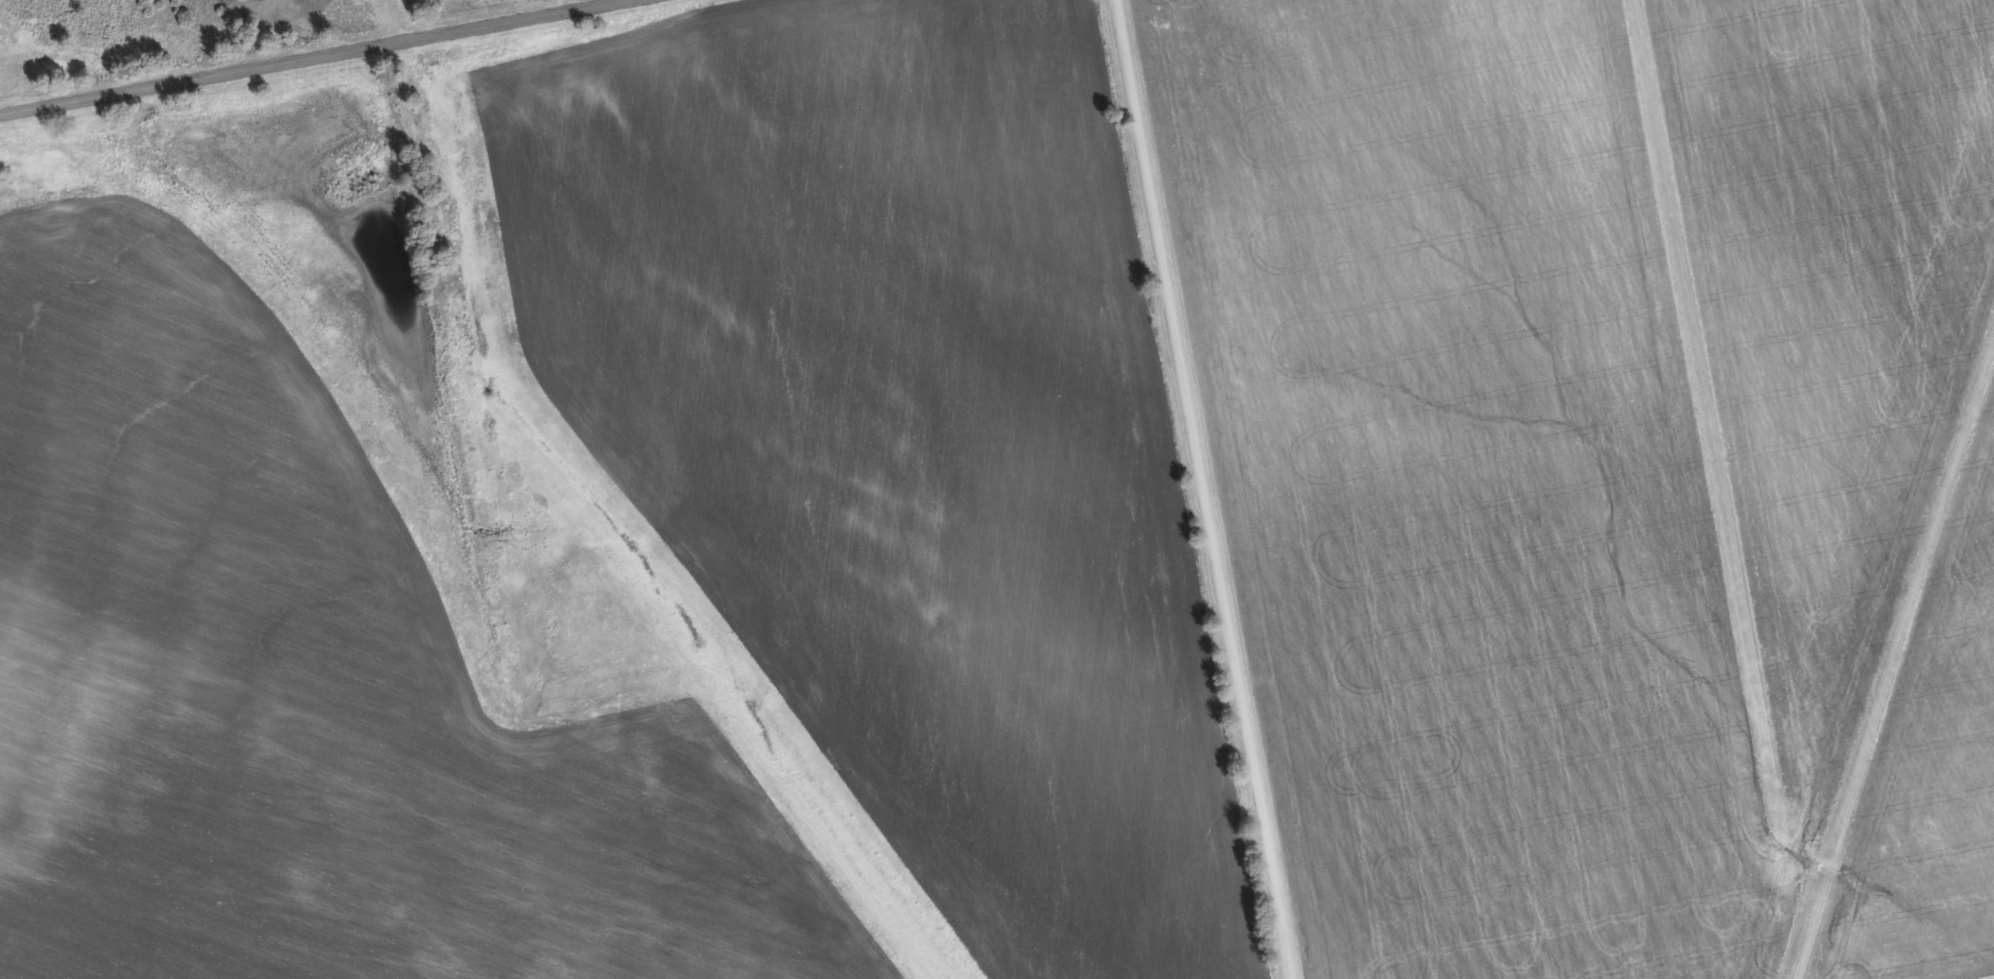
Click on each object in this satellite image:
road: (385, 22)
road: (313, 57)
road: (1714, 438)
road: (1206, 489)
railway: (596, 519)
road: (1906, 617)

